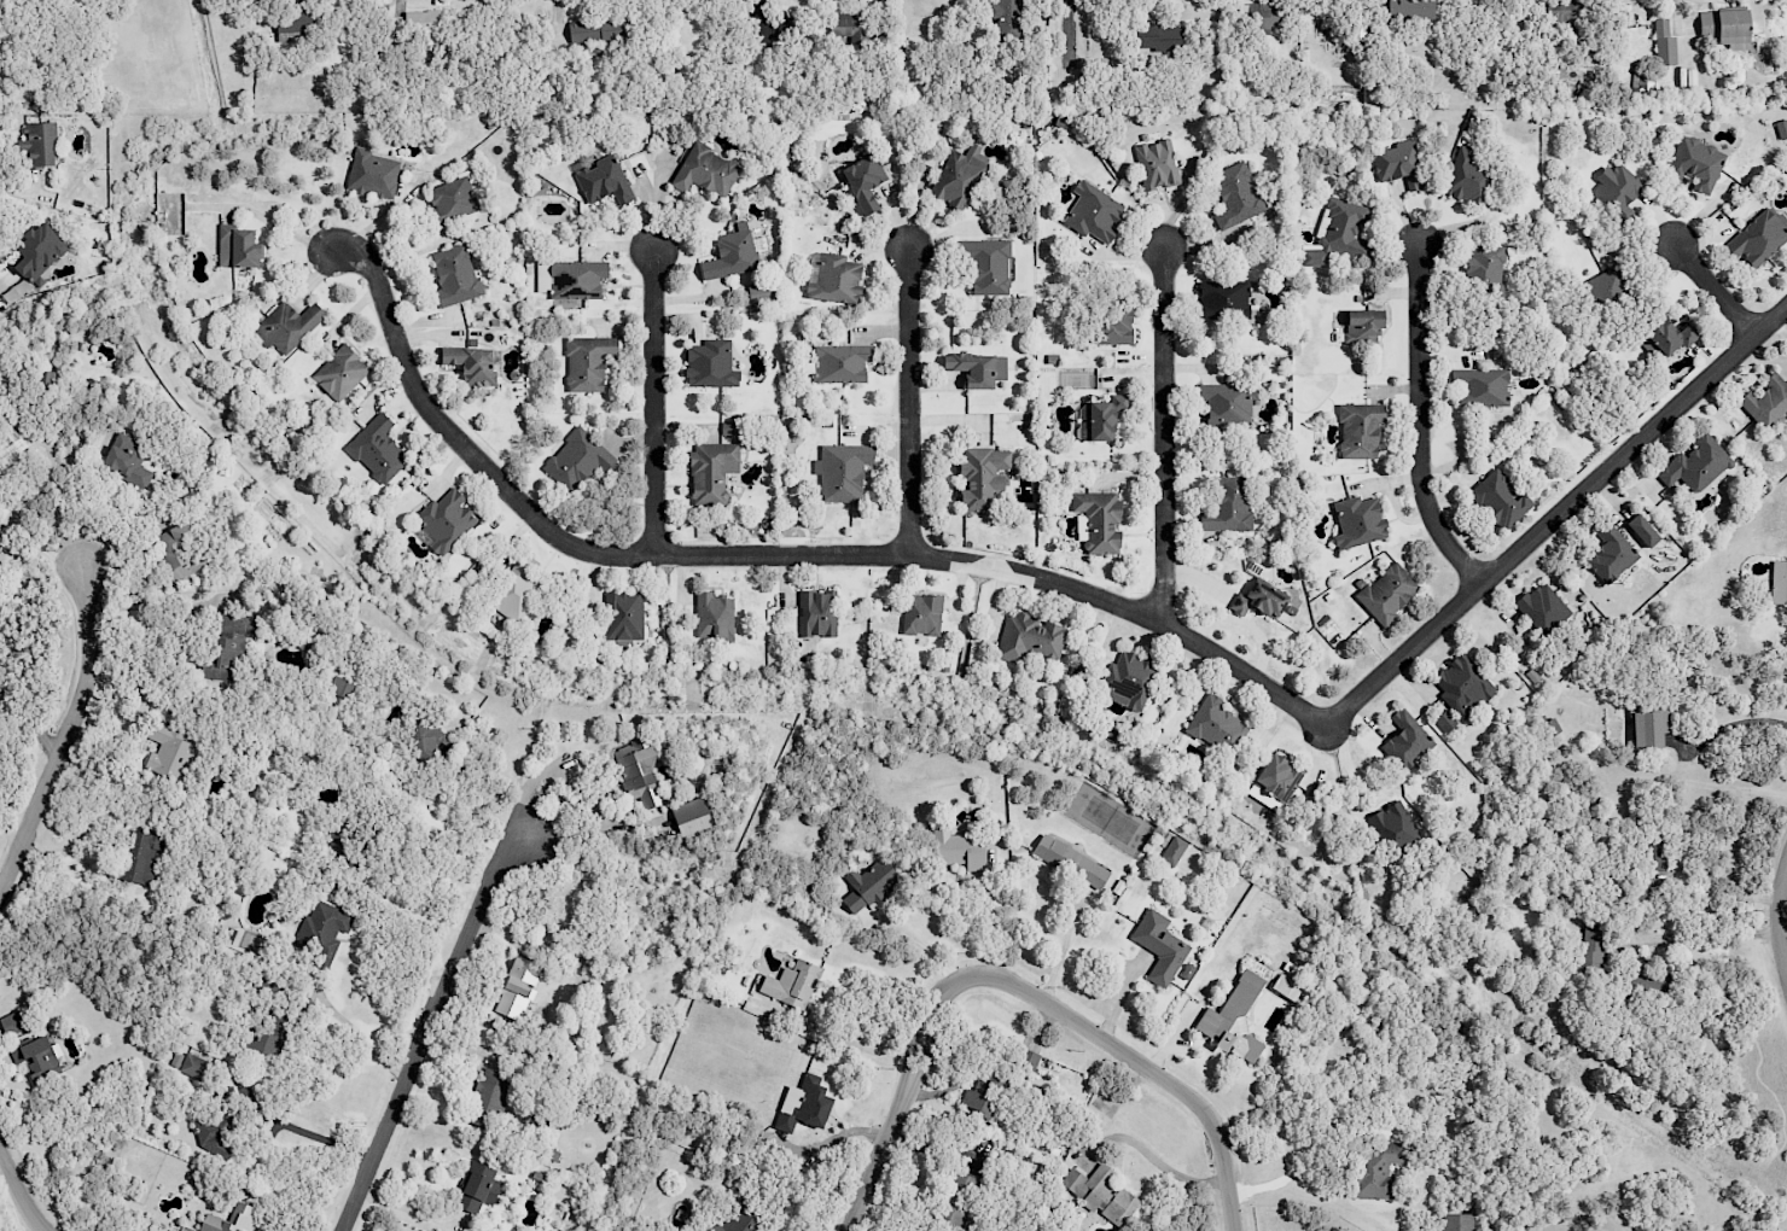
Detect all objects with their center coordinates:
building: (1410, 8)
building: (1562, 10)
road: (1678, 13)
building: (1259, 16)
building: (421, 18)
building: (1006, 18)
building: (763, 22)
building: (848, 25)
building: (1724, 27)
building: (600, 29)
road: (1069, 36)
building: (1156, 37)
building: (1664, 43)
building: (1781, 128)
building: (39, 144)
building: (1397, 162)
building: (1694, 163)
building: (1158, 164)
building: (1785, 168)
building: (706, 170)
building: (374, 173)
building: (960, 176)
building: (1466, 176)
building: (606, 180)
building: (867, 180)
building: (1619, 193)
building: (1234, 194)
building: (454, 199)
building: (1096, 212)
building: (1344, 228)
building: (1756, 239)
building: (240, 246)
building: (39, 250)
building: (734, 255)
building: (989, 263)
building: (1480, 272)
building: (456, 275)
building: (838, 278)
building: (580, 279)
building: (1606, 285)
road: (1716, 290)
building: (16, 291)
building: (762, 291)
building: (1222, 299)
building: (291, 323)
building: (1114, 325)
building: (1362, 325)
building: (1665, 334)
building: (590, 361)
building: (845, 362)
building: (473, 363)
building: (714, 363)
building: (977, 367)
building: (343, 372)
building: (1480, 386)
road: (910, 402)
building: (1765, 402)
road: (654, 403)
building: (1223, 403)
building: (1108, 418)
road: (1419, 424)
building: (1358, 428)
road: (1164, 438)
building: (379, 449)
building: (12, 453)
building: (580, 459)
building: (129, 461)
building: (1694, 463)
building: (712, 469)
building: (844, 471)
building: (983, 477)
building: (1497, 500)
building: (1226, 504)
road: (1556, 517)
building: (448, 519)
building: (1102, 519)
building: (1356, 521)
building: (1641, 530)
building: (1, 536)
building: (181, 550)
building: (1608, 552)
road: (770, 555)
building: (1779, 584)
building: (519, 589)
building: (1386, 593)
building: (1257, 599)
building: (1539, 607)
building: (815, 613)
building: (625, 614)
building: (921, 614)
building: (716, 617)
building: (1026, 637)
building: (231, 647)
building: (1128, 678)
building: (1461, 684)
building: (339, 685)
building: (1444, 719)
building: (1213, 724)
road: (1727, 725)
building: (1649, 727)
road: (65, 736)
building: (1404, 739)
building: (427, 740)
building: (170, 751)
building: (640, 768)
building: (1275, 777)
building: (698, 781)
building: (695, 817)
road: (443, 825)
building: (1393, 828)
building: (344, 838)
building: (960, 846)
building: (1172, 850)
building: (139, 854)
building: (1073, 859)
building: (1642, 862)
building: (871, 885)
road: (1717, 897)
building: (572, 905)
road: (1780, 918)
building: (324, 929)
building: (225, 934)
road: (1704, 935)
building: (1591, 939)
road: (916, 941)
road: (407, 943)
road: (1061, 945)
building: (1157, 945)
road: (1786, 962)
building: (520, 982)
building: (794, 982)
building: (1645, 982)
building: (1280, 985)
building: (1229, 1015)
building: (12, 1022)
road: (348, 1025)
road: (427, 1028)
building: (273, 1035)
road: (860, 1045)
building: (36, 1056)
building: (1030, 1058)
building: (176, 1060)
road: (1136, 1061)
building: (198, 1066)
building: (988, 1089)
building: (494, 1095)
building: (810, 1104)
road: (898, 1107)
building: (222, 1122)
road: (312, 1136)
road: (1311, 1155)
road: (1159, 1162)
building: (1373, 1167)
building: (479, 1185)
road: (19, 1189)
building: (1102, 1191)
building: (957, 1197)
building: (232, 1219)
building: (745, 1219)
building: (1454, 1221)

